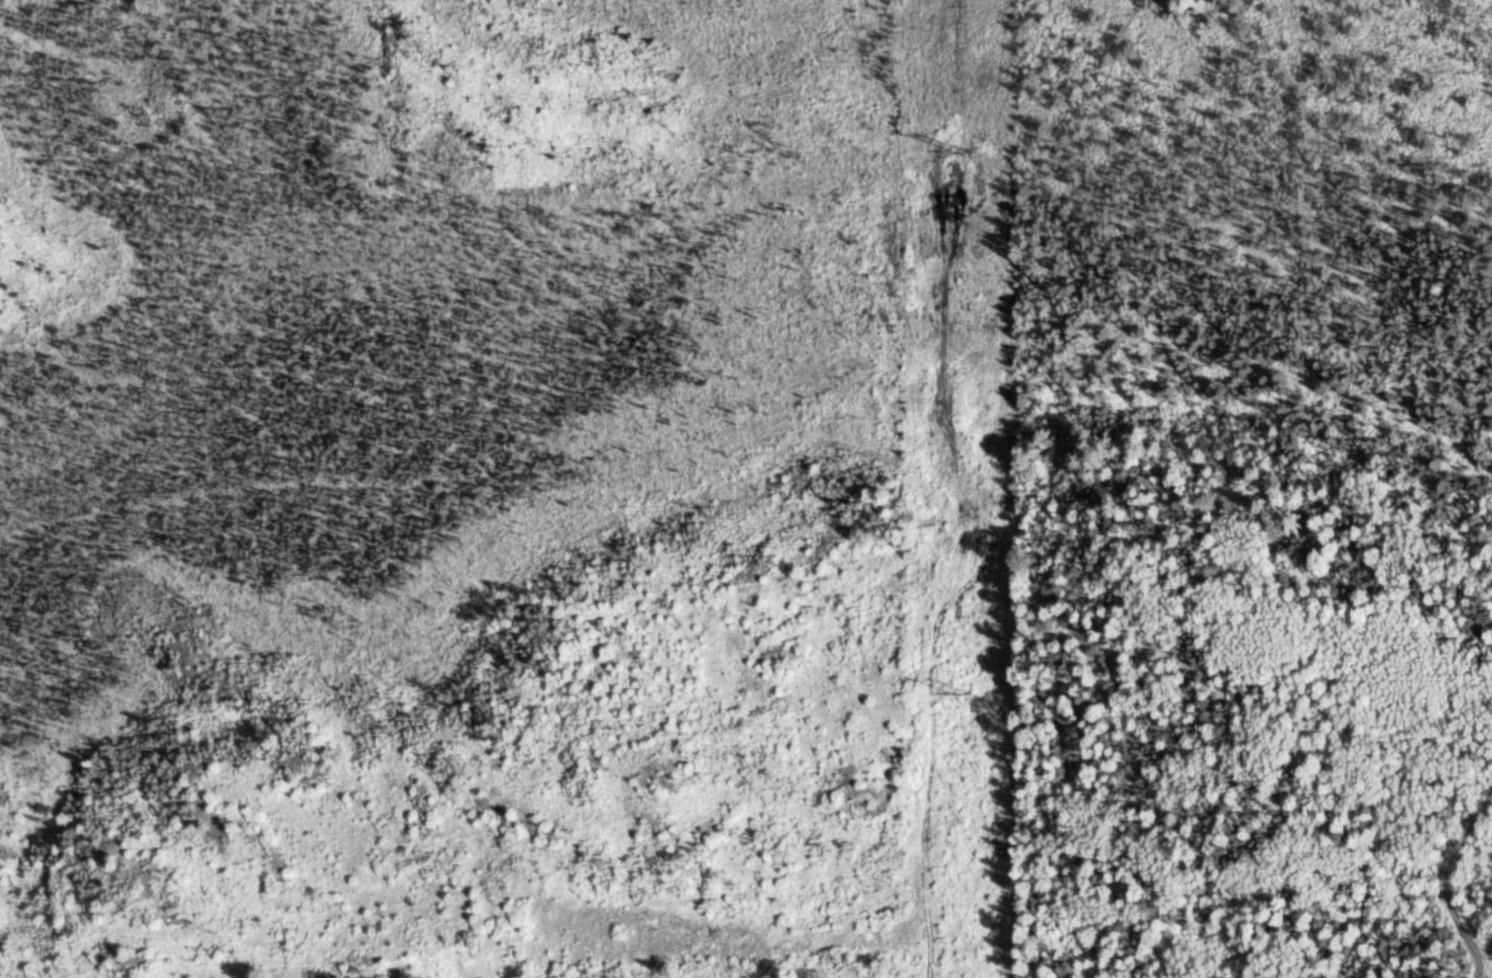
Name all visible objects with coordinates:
power tower: (960, 149)
power tower: (961, 692)
road: (1450, 882)

